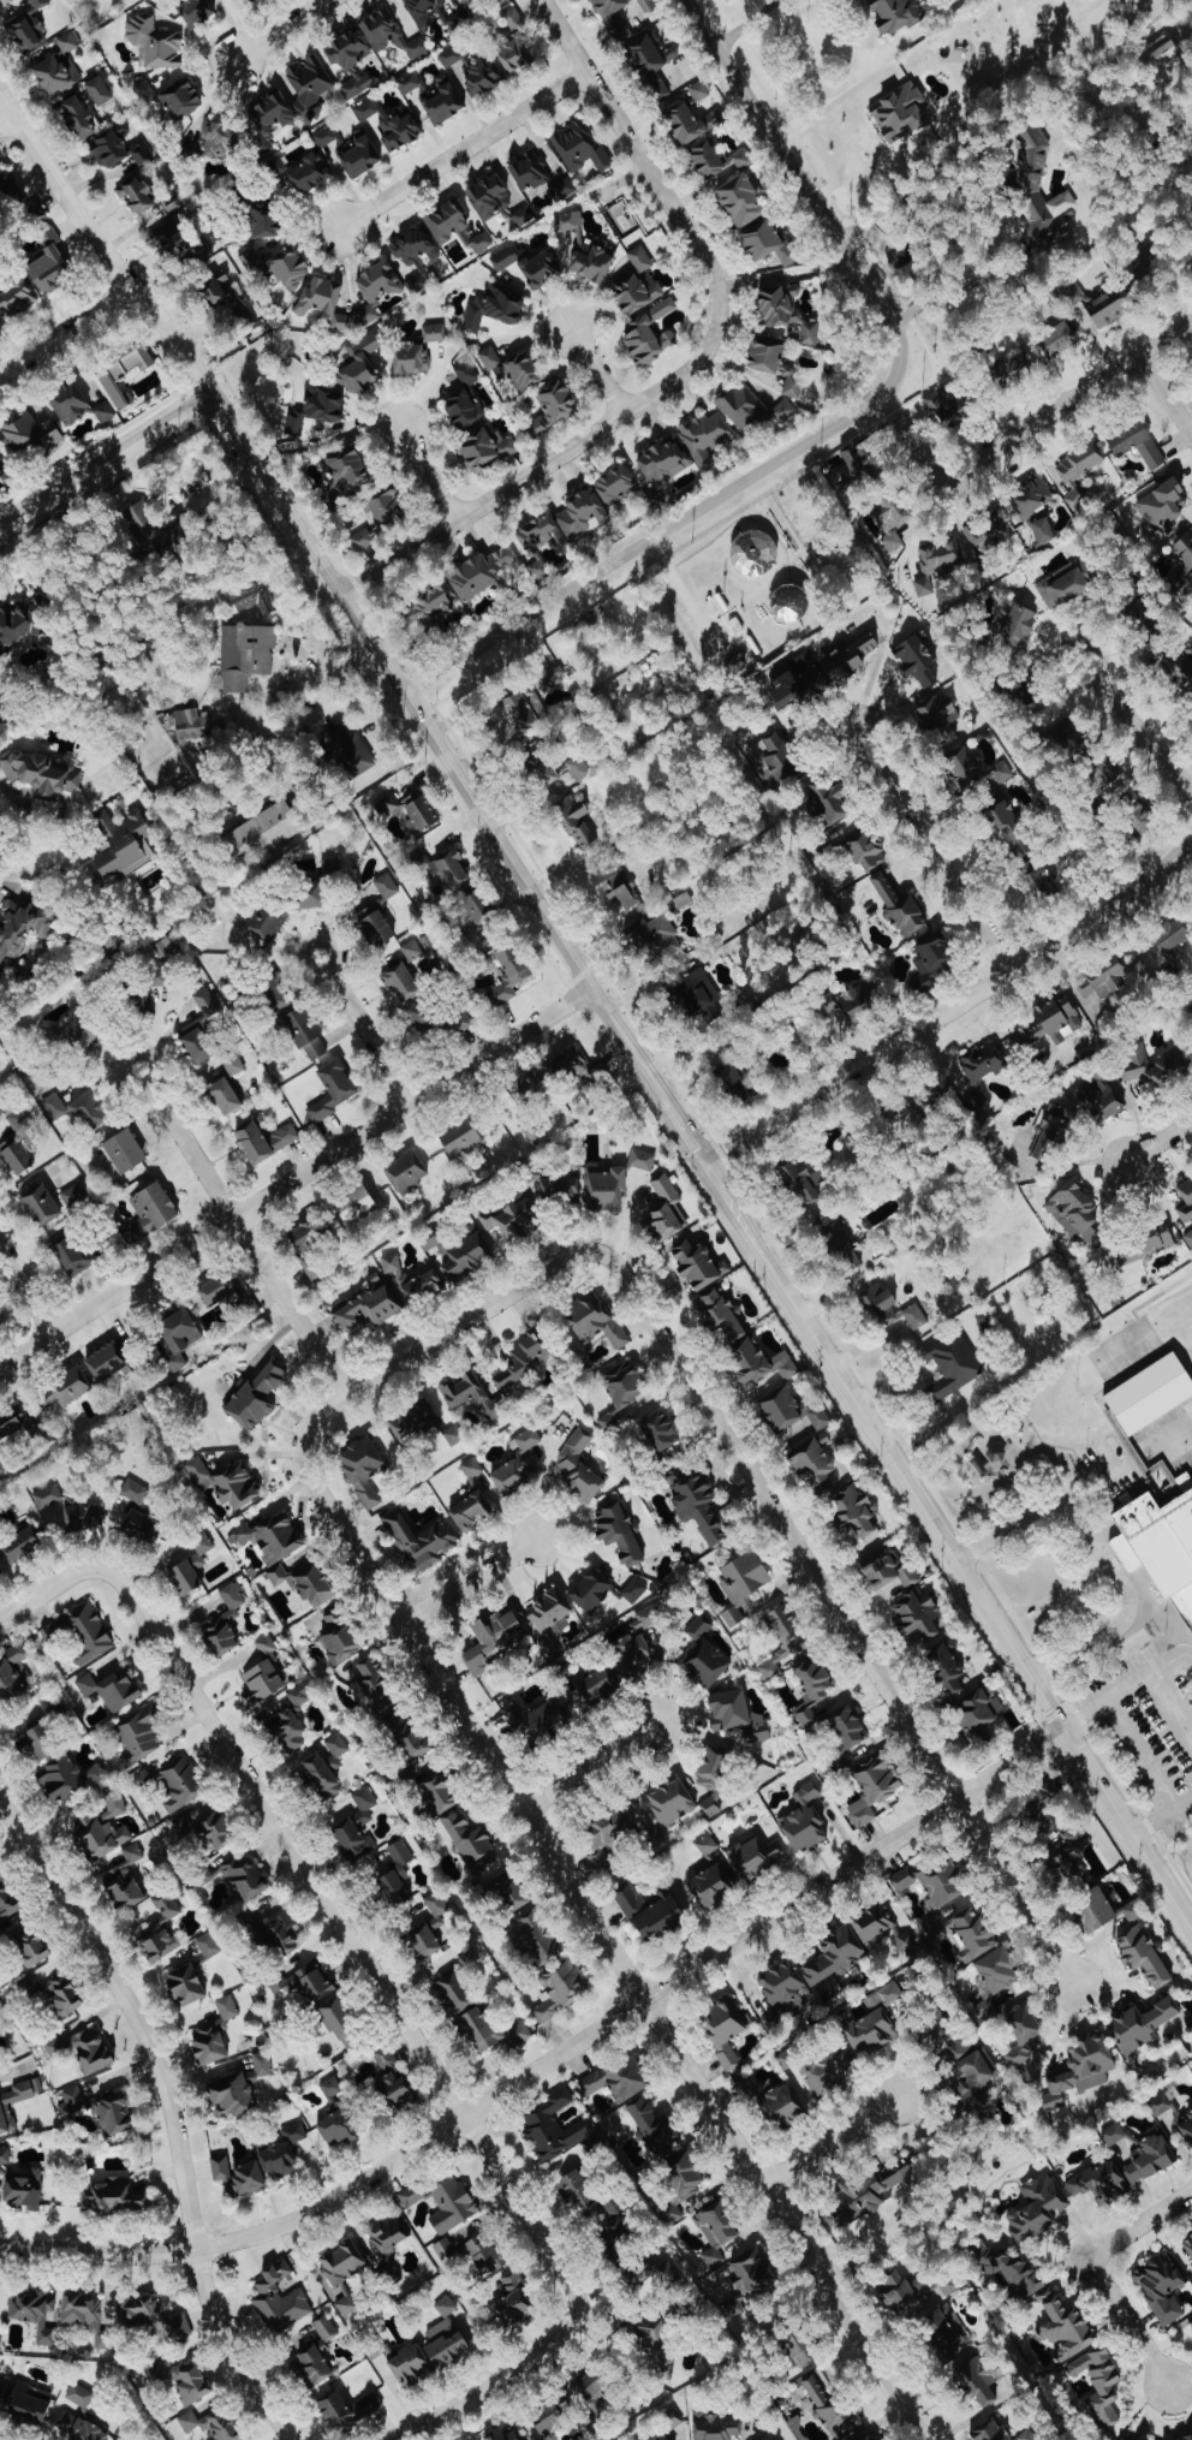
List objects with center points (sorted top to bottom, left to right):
building: (467, 0)
building: (7, 1)
building: (499, 1)
building: (648, 5)
building: (424, 10)
building: (196, 12)
building: (896, 14)
building: (614, 18)
building: (512, 20)
building: (458, 22)
road: (752, 22)
building: (29, 28)
road: (280, 29)
building: (392, 35)
building: (68, 42)
building: (155, 42)
building: (348, 49)
building: (515, 55)
building: (452, 56)
building: (1164, 60)
building: (654, 63)
building: (59, 76)
building: (484, 76)
building: (410, 83)
building: (358, 87)
building: (310, 88)
building: (699, 90)
building: (101, 91)
road: (1155, 94)
building: (181, 99)
building: (446, 105)
building: (901, 113)
building: (81, 118)
road: (7, 120)
building: (269, 120)
building: (692, 121)
building: (392, 125)
building: (324, 137)
building: (221, 138)
building: (580, 148)
building: (112, 150)
road: (464, 150)
road: (638, 153)
building: (139, 154)
building: (362, 156)
building: (717, 160)
building: (300, 173)
building: (530, 173)
building: (564, 189)
building: (6, 192)
building: (137, 195)
building: (490, 197)
building: (1042, 197)
building: (743, 201)
road: (899, 202)
building: (524, 216)
building: (263, 221)
building: (448, 221)
building: (178, 242)
building: (482, 242)
building: (768, 243)
road: (100, 246)
building: (416, 256)
building: (507, 257)
building: (640, 258)
building: (50, 264)
building: (291, 268)
building: (543, 268)
building: (377, 290)
building: (638, 294)
building: (18, 298)
building: (324, 303)
building: (230, 305)
building: (779, 307)
building: (1104, 307)
building: (495, 309)
road: (67, 332)
building: (435, 333)
building: (650, 334)
building: (811, 334)
building: (1060, 341)
building: (767, 355)
building: (412, 358)
building: (490, 358)
building: (132, 362)
building: (360, 365)
road: (597, 369)
building: (525, 371)
building: (466, 373)
building: (1014, 373)
building: (793, 383)
road: (1166, 392)
building: (117, 393)
road: (1067, 399)
building: (72, 403)
building: (947, 404)
building: (317, 409)
building: (554, 409)
building: (744, 409)
building: (464, 410)
building: (105, 412)
building: (785, 412)
road: (838, 423)
building: (30, 436)
building: (707, 439)
building: (1138, 444)
building: (487, 448)
road: (917, 448)
road: (106, 459)
building: (663, 462)
road: (542, 464)
building: (348, 471)
road: (427, 472)
building: (1079, 472)
building: (616, 484)
building: (1035, 498)
building: (389, 505)
building: (1166, 506)
building: (584, 513)
building: (888, 524)
building: (150, 529)
building: (1044, 531)
building: (542, 535)
building: (990, 535)
building: (1186, 547)
building: (755, 554)
road: (11, 558)
building: (937, 564)
building: (538, 570)
building: (482, 573)
building: (1069, 583)
building: (791, 605)
building: (431, 607)
building: (23, 623)
building: (1019, 626)
building: (246, 656)
building: (851, 656)
building: (918, 661)
building: (1185, 669)
road: (875, 672)
building: (553, 677)
building: (799, 682)
building: (1030, 697)
building: (528, 710)
building: (941, 719)
building: (190, 724)
road: (1134, 725)
building: (1072, 739)
building: (350, 751)
building: (782, 758)
building: (574, 766)
building: (977, 772)
building: (1103, 772)
building: (544, 773)
building: (42, 774)
road: (12, 793)
building: (828, 801)
building: (412, 811)
building: (1138, 814)
building: (577, 823)
building: (264, 832)
building: (1012, 832)
building: (124, 844)
road: (934, 850)
building: (868, 851)
building: (332, 869)
building: (446, 869)
road: (24, 871)
building: (94, 875)
building: (1043, 879)
building: (387, 886)
building: (619, 891)
building: (314, 895)
building: (901, 907)
building: (478, 909)
building: (266, 924)
building: (376, 926)
building: (658, 938)
building: (1173, 938)
road: (309, 940)
building: (412, 950)
building: (935, 962)
building: (509, 972)
building: (159, 978)
building: (1105, 980)
building: (403, 982)
building: (699, 995)
building: (278, 998)
building: (207, 1005)
building: (856, 1005)
road: (952, 1008)
building: (437, 1020)
building: (1047, 1026)
building: (84, 1030)
building: (308, 1032)
road: (370, 1039)
building: (198, 1046)
road: (130, 1055)
building: (984, 1061)
building: (234, 1065)
building: (1155, 1065)
building: (570, 1066)
building: (733, 1081)
building: (531, 1084)
building: (334, 1089)
building: (226, 1095)
building: (1104, 1099)
building: (54, 1107)
building: (90, 1112)
building: (20, 1119)
building: (1054, 1129)
building: (535, 1130)
building: (461, 1136)
building: (266, 1141)
road: (1160, 1141)
building: (125, 1151)
building: (18, 1156)
building: (643, 1160)
road: (702, 1160)
building: (409, 1171)
road: (296, 1179)
building: (803, 1182)
building: (560, 1189)
building: (606, 1189)
building: (74, 1194)
building: (1187, 1195)
building: (42, 1204)
building: (357, 1204)
building: (668, 1209)
building: (151, 1212)
building: (1077, 1213)
building: (513, 1219)
building: (1188, 1238)
road: (246, 1242)
building: (842, 1244)
building: (310, 1245)
building: (1146, 1245)
building: (459, 1254)
building: (76, 1256)
building: (699, 1263)
building: (412, 1280)
building: (222, 1287)
road: (26, 1293)
building: (369, 1307)
building: (890, 1311)
building: (721, 1314)
building: (598, 1321)
building: (1, 1328)
building: (180, 1335)
road: (440, 1335)
building: (524, 1359)
building: (113, 1362)
building: (762, 1363)
building: (953, 1363)
building: (68, 1388)
building: (624, 1391)
building: (1149, 1392)
building: (257, 1397)
building: (473, 1397)
building: (782, 1409)
building: (819, 1417)
building: (416, 1421)
building: (12, 1422)
building: (660, 1430)
building: (454, 1434)
building: (990, 1459)
building: (815, 1460)
building: (518, 1464)
building: (472, 1469)
building: (364, 1470)
building: (582, 1470)
building: (227, 1482)
building: (136, 1492)
building: (698, 1502)
building: (472, 1510)
building: (67, 1512)
road: (780, 1522)
building: (141, 1524)
building: (619, 1531)
building: (272, 1537)
building: (421, 1541)
building: (22, 1543)
building: (1158, 1546)
road: (1104, 1551)
building: (192, 1567)
building: (0, 1572)
building: (890, 1572)
road: (471, 1581)
building: (306, 1582)
building: (745, 1583)
road: (50, 1589)
building: (592, 1590)
building: (634, 1590)
building: (549, 1609)
building: (920, 1615)
building: (648, 1619)
building: (227, 1620)
road: (1163, 1626)
building: (698, 1629)
building: (81, 1633)
building: (341, 1636)
building: (494, 1638)
building: (785, 1642)
building: (266, 1643)
building: (634, 1658)
building: (707, 1664)
building: (948, 1671)
building: (14, 1674)
building: (263, 1682)
building: (377, 1684)
road: (1128, 1685)
building: (813, 1688)
building: (113, 1689)
building: (590, 1690)
building: (302, 1695)
road: (1169, 1709)
building: (982, 1712)
building: (739, 1715)
building: (536, 1720)
building: (850, 1726)
building: (290, 1730)
building: (141, 1733)
building: (411, 1736)
building: (41, 1743)
building: (336, 1746)
road: (1139, 1755)
road: (589, 1766)
building: (714, 1771)
building: (322, 1777)
building: (99, 1779)
building: (62, 1780)
building: (178, 1785)
building: (875, 1789)
building: (673, 1802)
building: (364, 1805)
building: (114, 1807)
road: (1162, 1817)
building: (806, 1820)
building: (204, 1829)
building: (614, 1833)
building: (101, 1835)
building: (1074, 1838)
building: (353, 1840)
building: (471, 1841)
building: (709, 1846)
building: (758, 1857)
building: (387, 1868)
building: (1065, 1871)
building: (398, 1875)
building: (126, 1880)
building: (248, 1880)
building: (935, 1883)
building: (711, 1887)
building: (511, 1892)
road: (1015, 1892)
building: (8, 1902)
building: (437, 1909)
building: (1096, 1910)
building: (652, 1912)
building: (875, 1924)
building: (162, 1929)
building: (273, 1933)
building: (975, 1934)
building: (538, 1938)
road: (347, 1939)
building: (26, 1942)
building: (424, 1942)
road: (606, 1942)
building: (209, 1945)
building: (835, 1956)
building: (1145, 1956)
building: (1000, 1971)
building: (308, 1983)
building: (187, 1986)
building: (562, 1990)
building: (782, 1993)
building: (455, 1994)
building: (60, 1995)
building: (884, 1998)
building: (987, 2011)
building: (341, 2023)
building: (1143, 2024)
building: (726, 2030)
building: (491, 2031)
building: (215, 2034)
building: (871, 2034)
building: (1024, 2037)
building: (949, 2040)
building: (84, 2051)
building: (386, 2058)
road: (553, 2059)
building: (788, 2059)
building: (262, 2067)
building: (1081, 2070)
building: (833, 2071)
building: (620, 2079)
building: (978, 2082)
building: (332, 2087)
building: (397, 2090)
building: (232, 2096)
building: (72, 2102)
building: (1162, 2105)
building: (785, 2107)
road: (168, 2108)
building: (7, 2117)
building: (117, 2117)
building: (340, 2127)
building: (554, 2127)
building: (656, 2129)
building: (1187, 2129)
building: (1114, 2135)
road: (829, 2143)
building: (284, 2154)
building: (5, 2158)
building: (1150, 2160)
building: (239, 2174)
building: (686, 2174)
building: (1101, 2183)
building: (24, 2190)
building: (577, 2190)
building: (871, 2192)
building: (114, 2197)
building: (443, 2203)
building: (1038, 2207)
building: (675, 2214)
building: (719, 2231)
building: (389, 2236)
building: (1190, 2245)
building: (445, 2248)
building: (485, 2255)
building: (344, 2262)
road: (1096, 2268)
building: (753, 2273)
building: (949, 2285)
building: (1163, 2289)
building: (904, 2292)
building: (280, 2301)
building: (513, 2301)
building: (1054, 2303)
building: (347, 2305)
building: (446, 2307)
building: (34, 2314)
building: (88, 2317)
building: (154, 2317)
building: (1191, 2322)
building: (326, 2328)
building: (943, 2334)
building: (0, 2339)
building: (447, 2343)
building: (656, 2343)
building: (805, 2350)
building: (316, 2365)
building: (412, 2367)
road: (496, 2379)
building: (981, 2380)
building: (184, 2381)
building: (1102, 2384)
building: (594, 2388)
building: (6, 2397)
building: (81, 2397)
building: (829, 2404)
building: (32, 2405)
building: (347, 2410)
building: (549, 2421)
building: (214, 2424)
building: (716, 2427)
building: (81, 2428)
building: (991, 2430)
building: (505, 2435)
building: (1027, 2435)
building: (662, 2438)
building: (866, 2438)
building: (764, 2439)
building: (1188, 2439)

